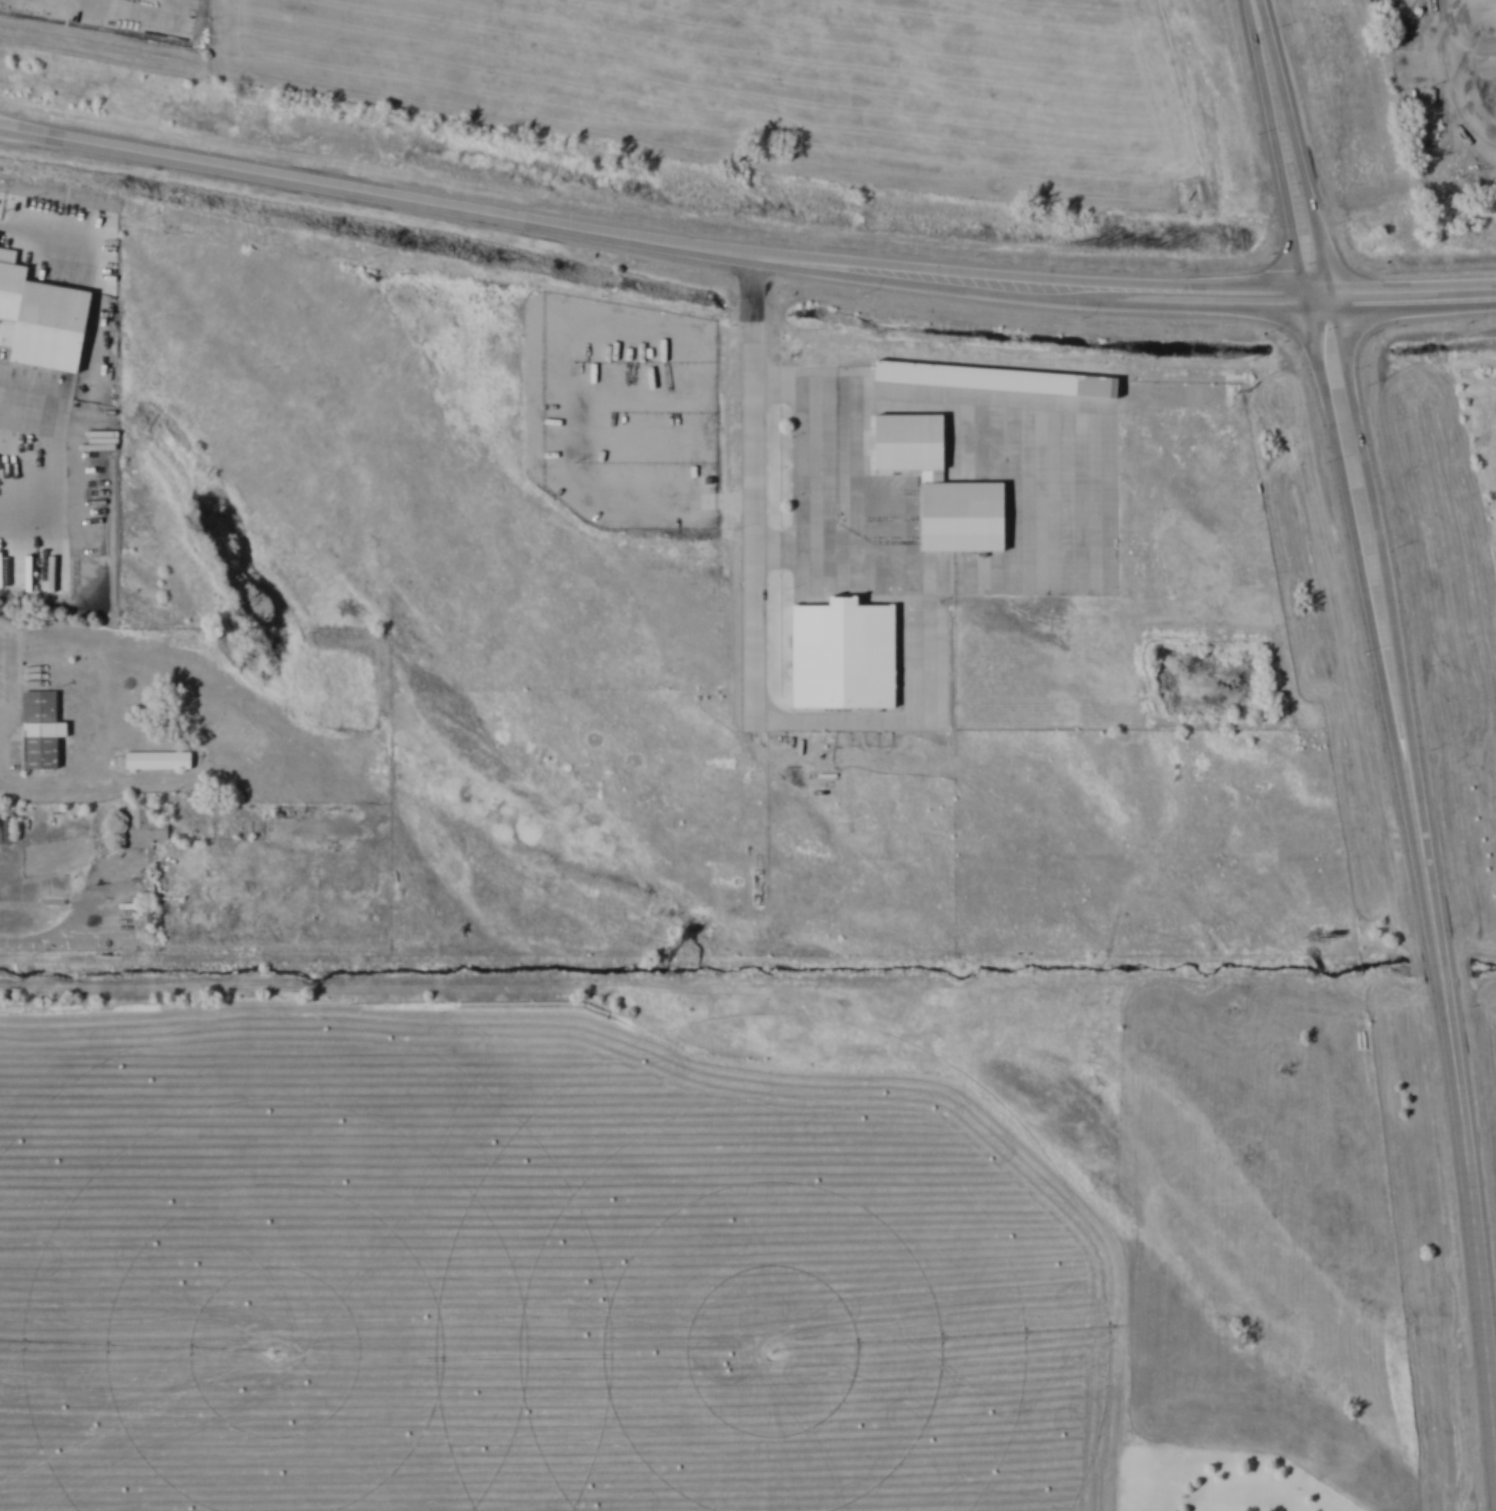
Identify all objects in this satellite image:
building: (1396, 33)
road: (1277, 150)
road: (1297, 150)
road: (151, 155)
road: (801, 263)
road: (1400, 298)
building: (44, 319)
building: (997, 381)
road: (861, 404)
road: (66, 436)
building: (912, 444)
building: (966, 518)
road: (1384, 571)
road: (1360, 573)
building: (845, 656)
building: (46, 733)
road: (7, 748)
building: (160, 761)
building: (148, 828)
building: (7, 830)
road: (87, 931)
road: (1467, 1144)
crop: (529, 1273)

